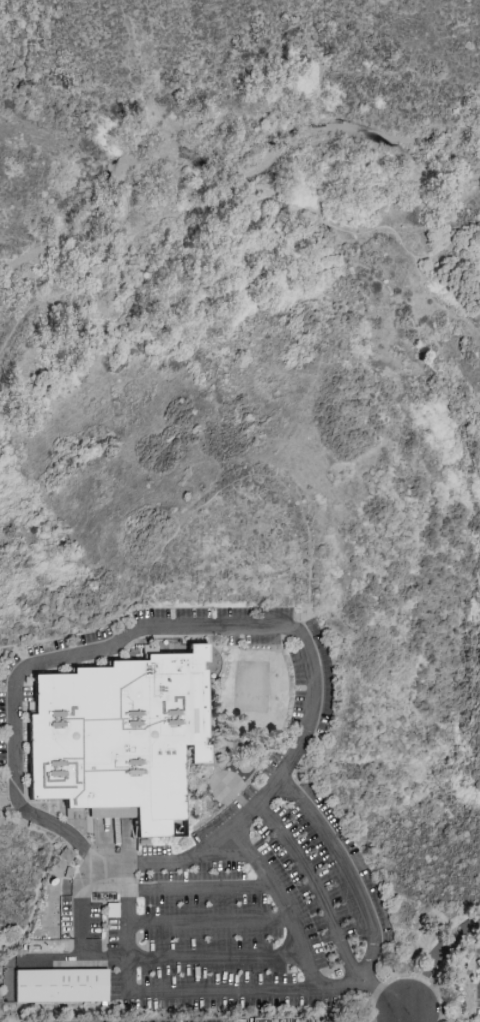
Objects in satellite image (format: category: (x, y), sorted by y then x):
road: (228, 200)
road: (435, 298)
road: (478, 330)
road: (301, 506)
parking lot: (211, 612)
road: (130, 633)
road: (70, 636)
parking lot: (252, 639)
road: (215, 677)
park: (251, 685)
parking lot: (299, 685)
parking lot: (324, 694)
road: (21, 702)
parking lot: (3, 710)
park: (241, 731)
building: (119, 738)
parking lot: (240, 801)
parking lot: (152, 850)
road: (229, 856)
road: (206, 857)
parking lot: (353, 858)
parking lot: (322, 866)
parking lot: (198, 874)
road: (43, 875)
road: (203, 888)
parking lot: (295, 892)
road: (324, 901)
road: (285, 903)
parking lot: (204, 904)
parking lot: (65, 914)
parking lot: (106, 917)
road: (211, 921)
parking lot: (212, 937)
parking lot: (51, 945)
road: (436, 957)
road: (55, 959)
parking lot: (214, 973)
road: (406, 976)
parking lot: (477, 983)
road: (129, 985)
building: (60, 988)
parking lot: (221, 1001)
road: (410, 1016)
parking lot: (143, 1020)

